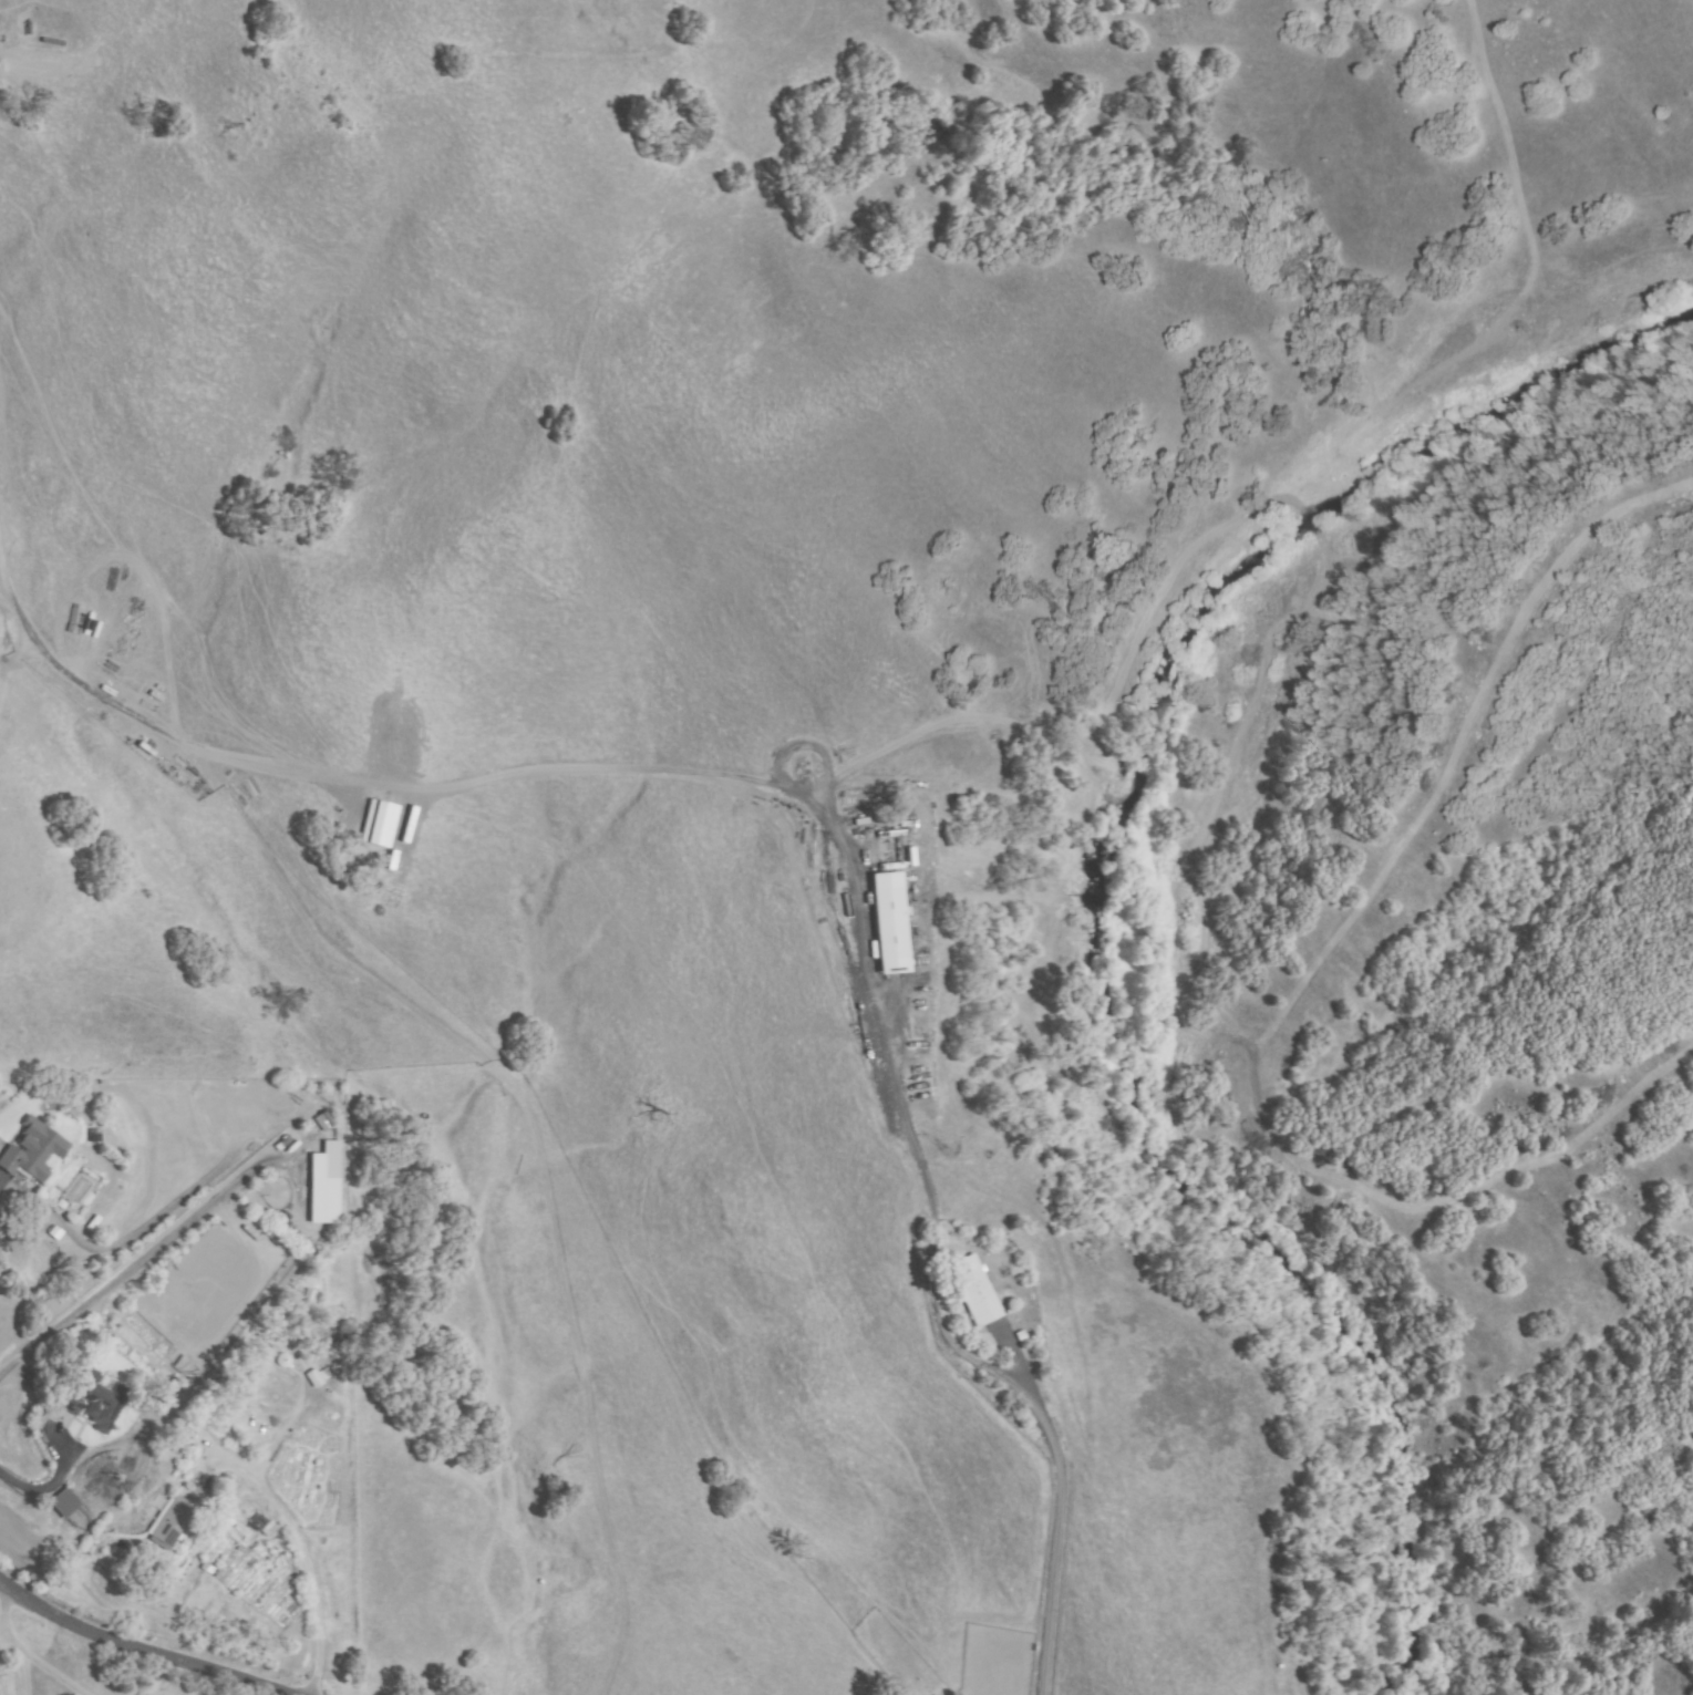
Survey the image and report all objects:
building: (380, 824)
building: (401, 825)
building: (890, 930)
building: (323, 1122)
building: (33, 1153)
building: (326, 1185)
building: (974, 1291)
building: (94, 1401)
building: (64, 1505)
building: (179, 1517)
road: (1056, 1526)
road: (136, 1649)

